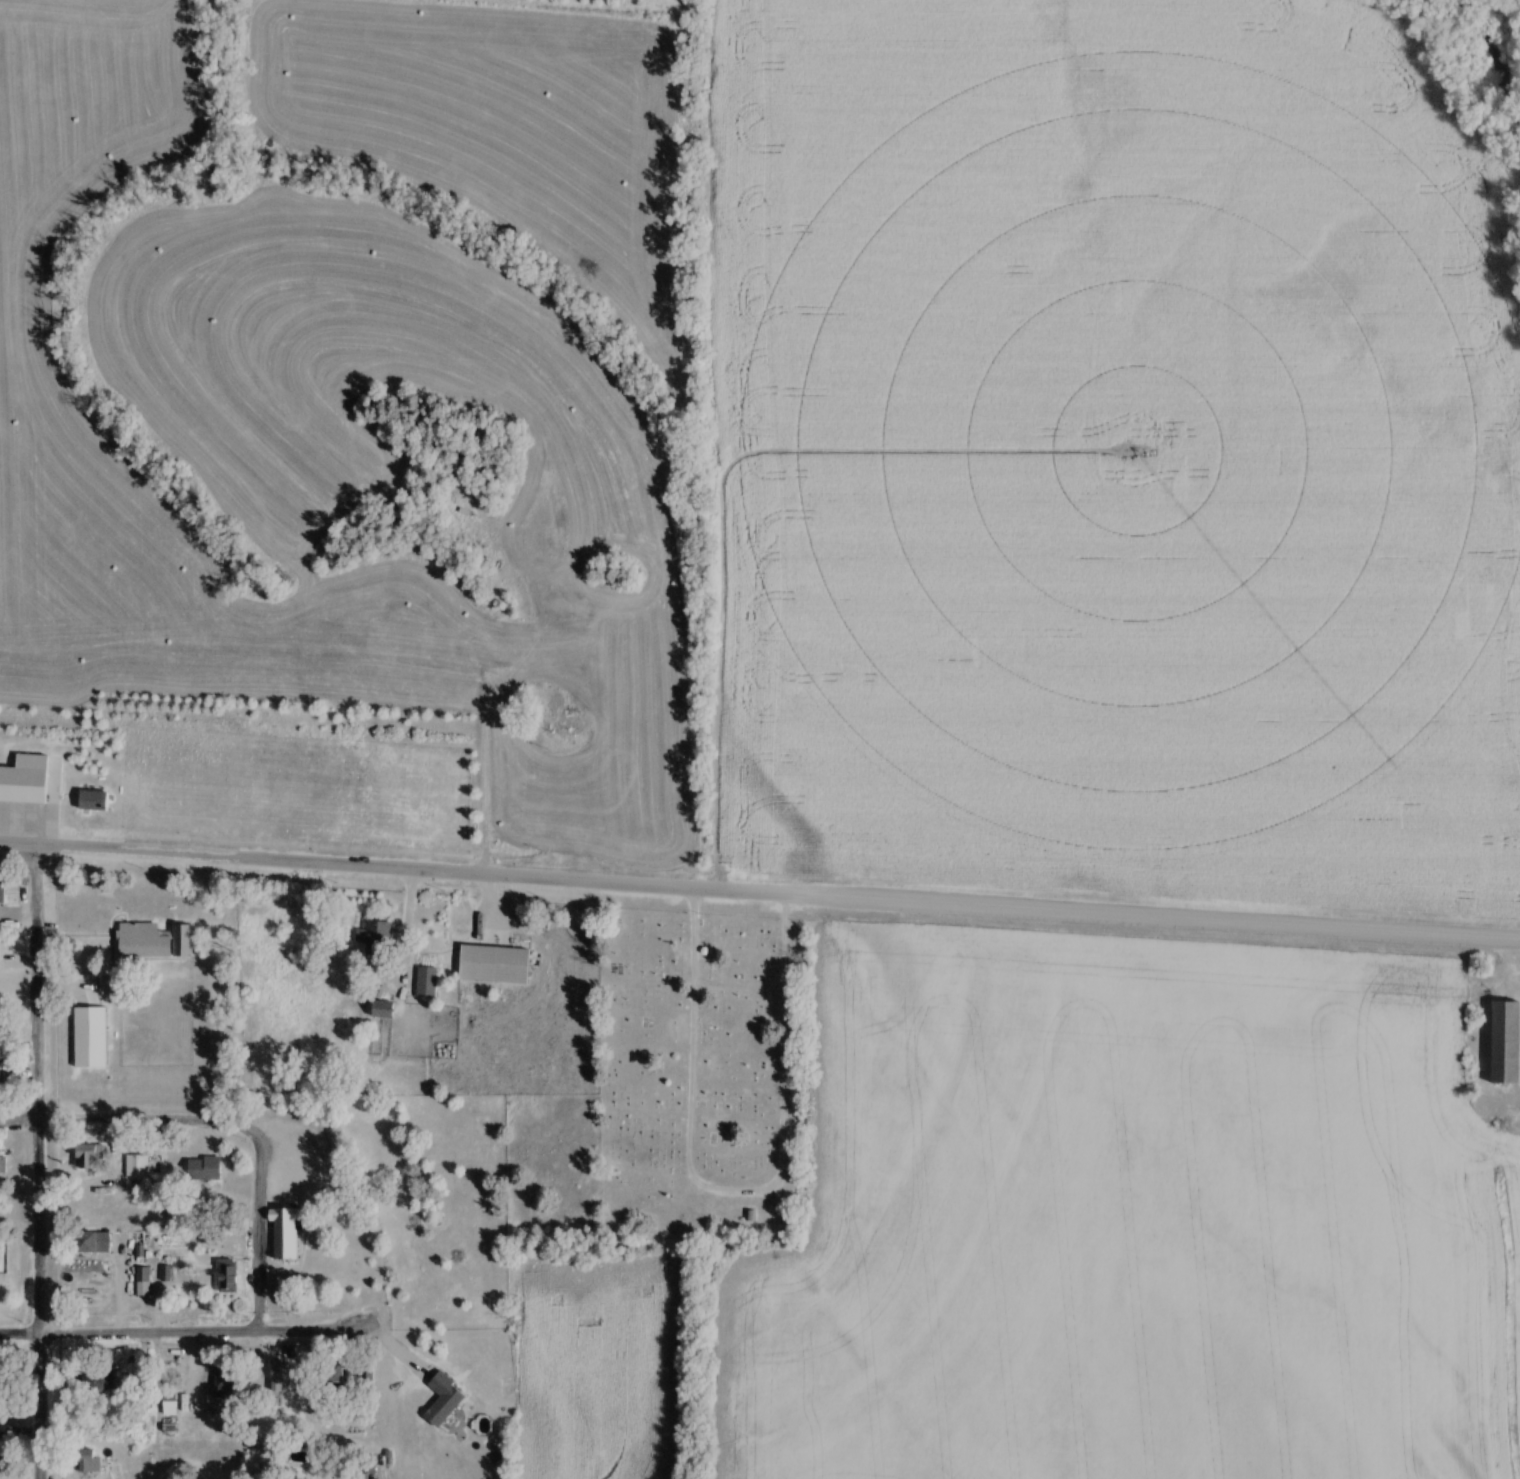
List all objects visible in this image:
river: (1514, 8)
building: (23, 786)
building: (95, 802)
road: (717, 892)
building: (2, 900)
building: (380, 939)
road: (1477, 940)
building: (157, 942)
road: (1507, 956)
building: (496, 966)
building: (428, 983)
building: (385, 1010)
building: (92, 1038)
building: (1507, 1044)
park: (705, 1063)
building: (0, 1074)
road: (116, 1121)
building: (91, 1158)
road: (37, 1163)
building: (138, 1166)
building: (206, 1170)
road: (734, 1189)
road: (258, 1225)
building: (287, 1236)
building: (94, 1244)
building: (229, 1277)
road: (184, 1337)
building: (102, 1387)
building: (226, 1387)
building: (446, 1401)
building: (171, 1407)
building: (3, 1462)
building: (89, 1462)

